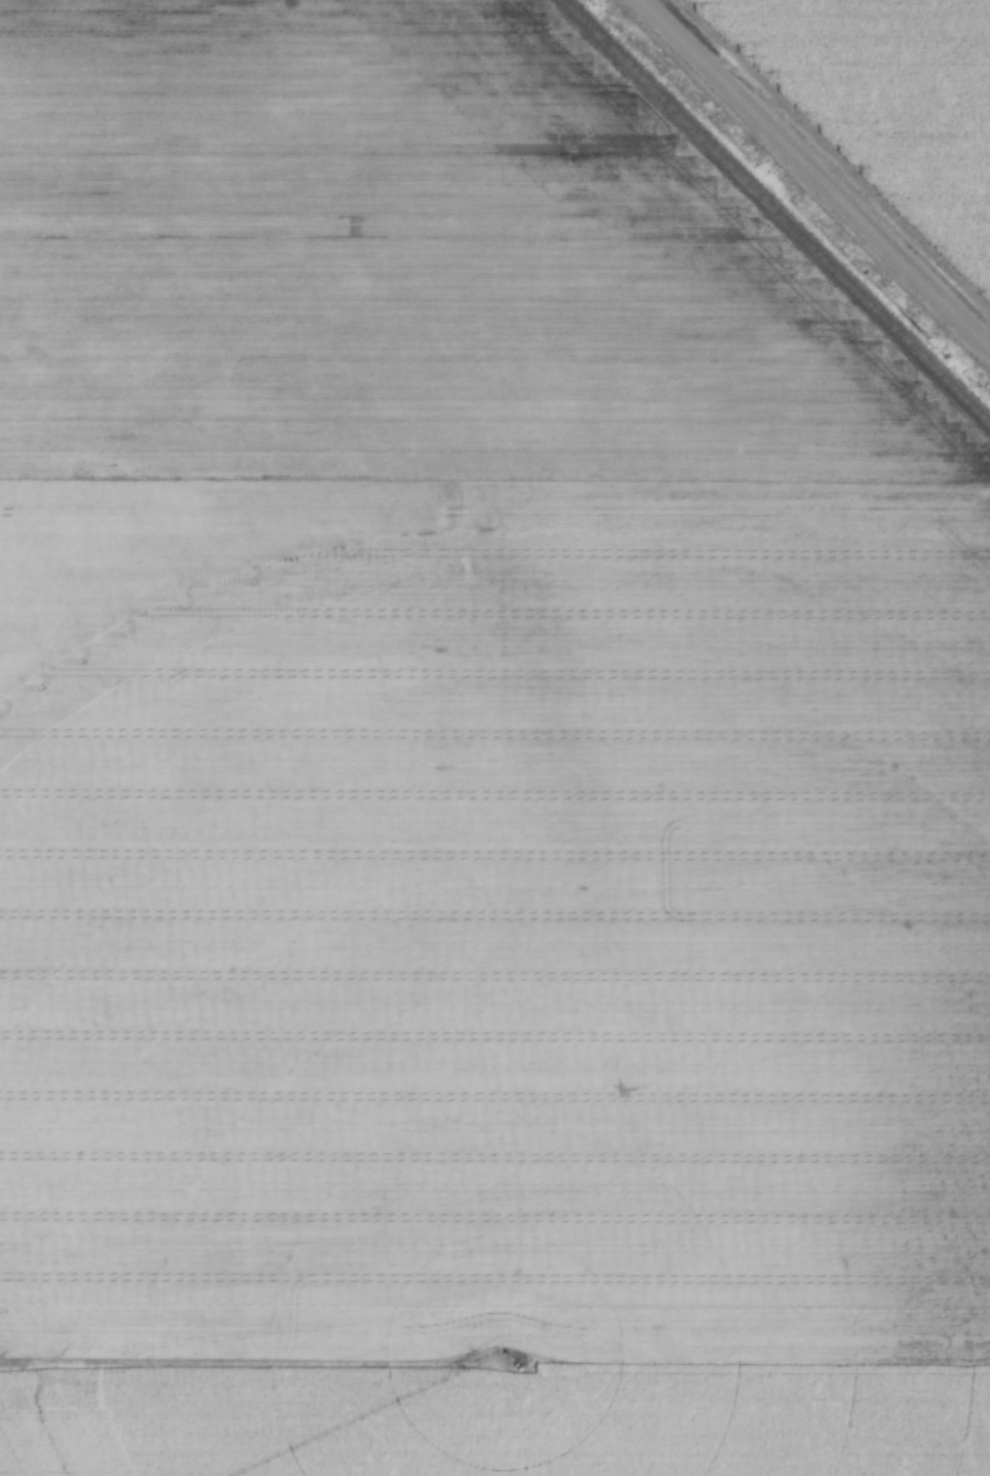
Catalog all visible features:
road: (814, 173)
railway: (779, 208)

